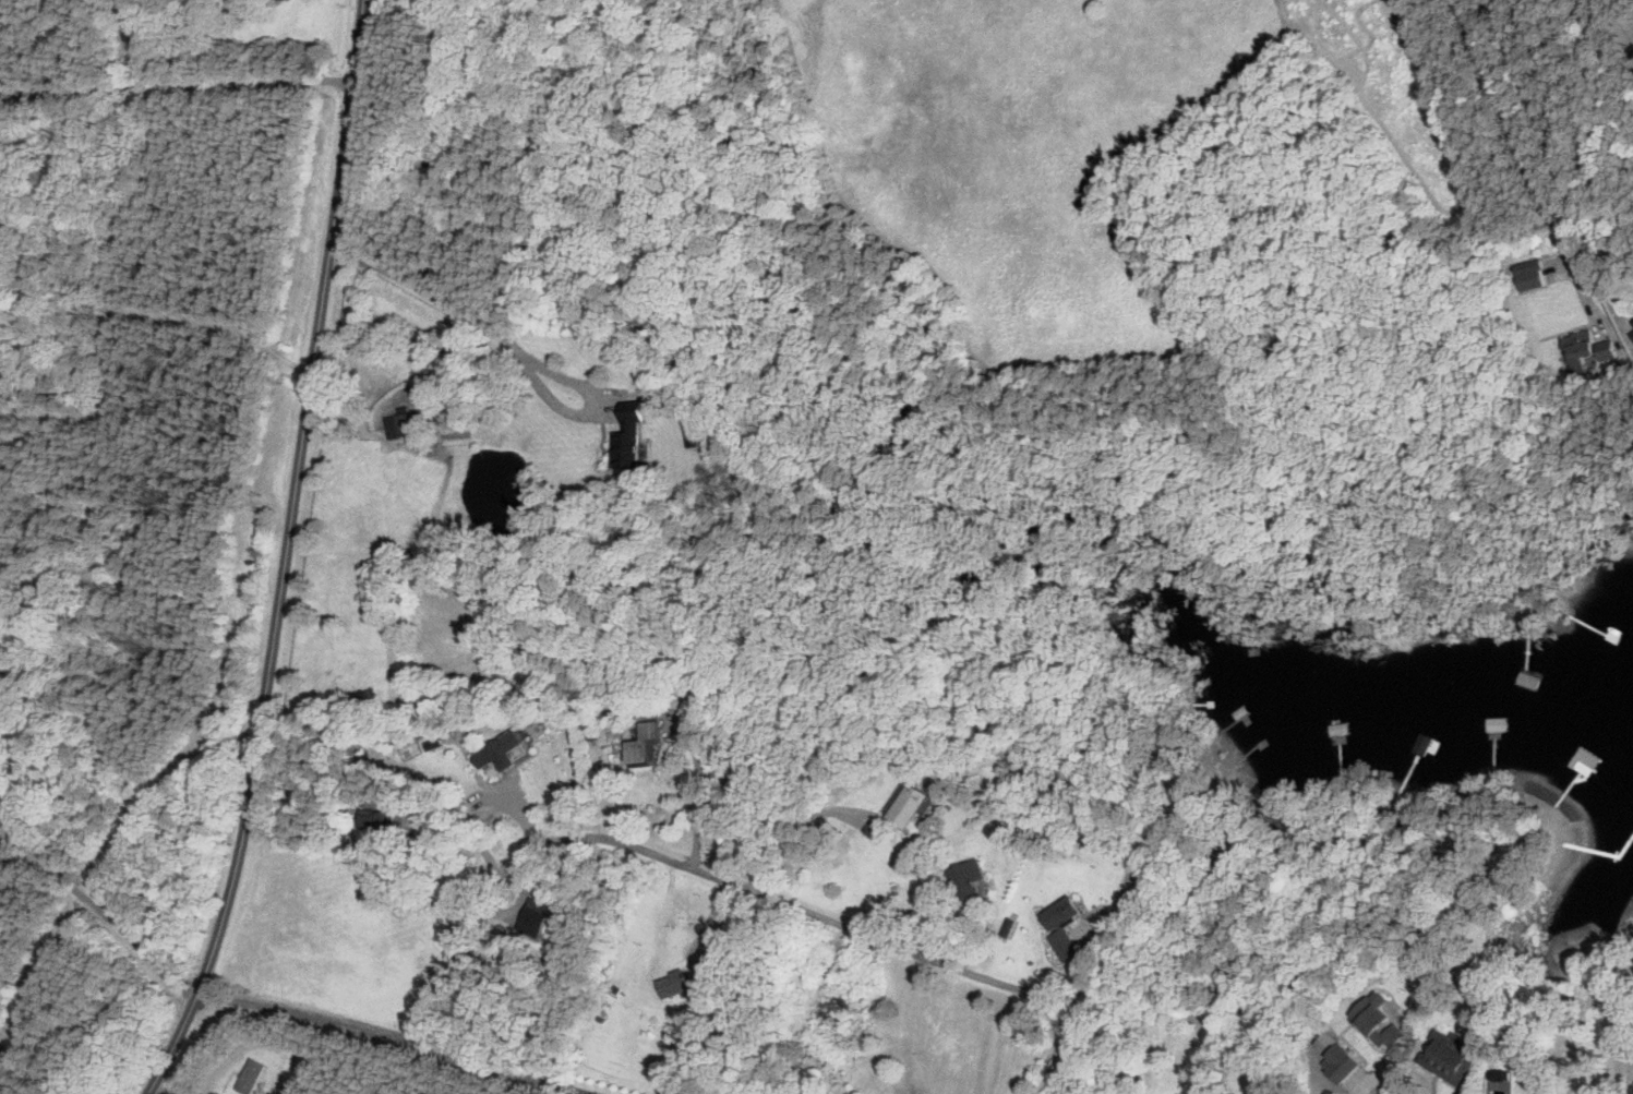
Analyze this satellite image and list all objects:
building: (245, 5)
road: (1622, 12)
building: (142, 32)
road: (178, 87)
road: (349, 125)
road: (1554, 132)
building: (23, 261)
building: (1525, 280)
road: (120, 314)
building: (1632, 336)
building: (1584, 350)
road: (518, 351)
building: (410, 425)
building: (638, 435)
building: (1, 452)
building: (1610, 661)
road: (265, 680)
building: (1528, 680)
building: (1497, 725)
building: (652, 743)
building: (1419, 743)
building: (507, 755)
building: (1586, 758)
road: (708, 801)
building: (915, 802)
building: (384, 821)
road: (464, 829)
road: (799, 829)
road: (671, 863)
building: (977, 880)
road: (103, 904)
building: (1055, 912)
building: (677, 985)
building: (845, 1010)
building: (1374, 1020)
road: (400, 1043)
building: (1444, 1055)
building: (1336, 1062)
road: (39, 1066)
building: (256, 1077)
road: (1362, 1086)

